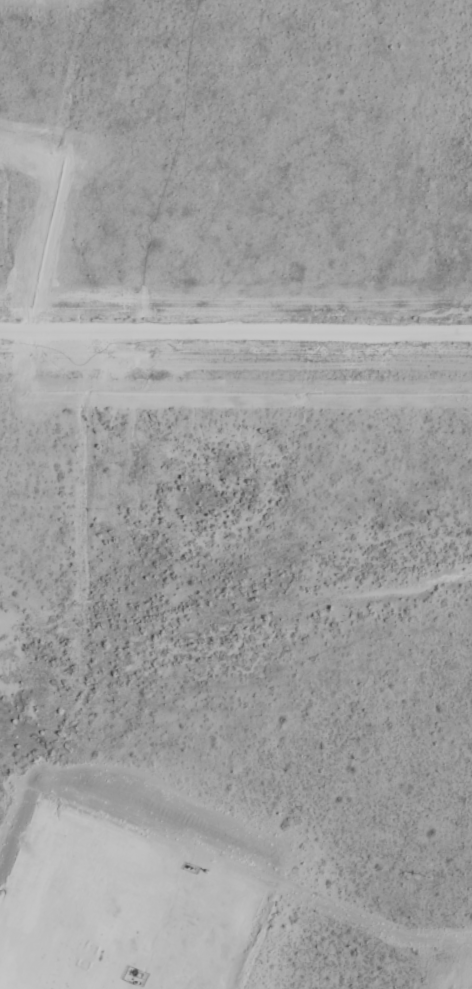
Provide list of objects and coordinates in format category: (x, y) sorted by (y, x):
road: (236, 321)
road: (110, 925)
petroleum well: (132, 970)

